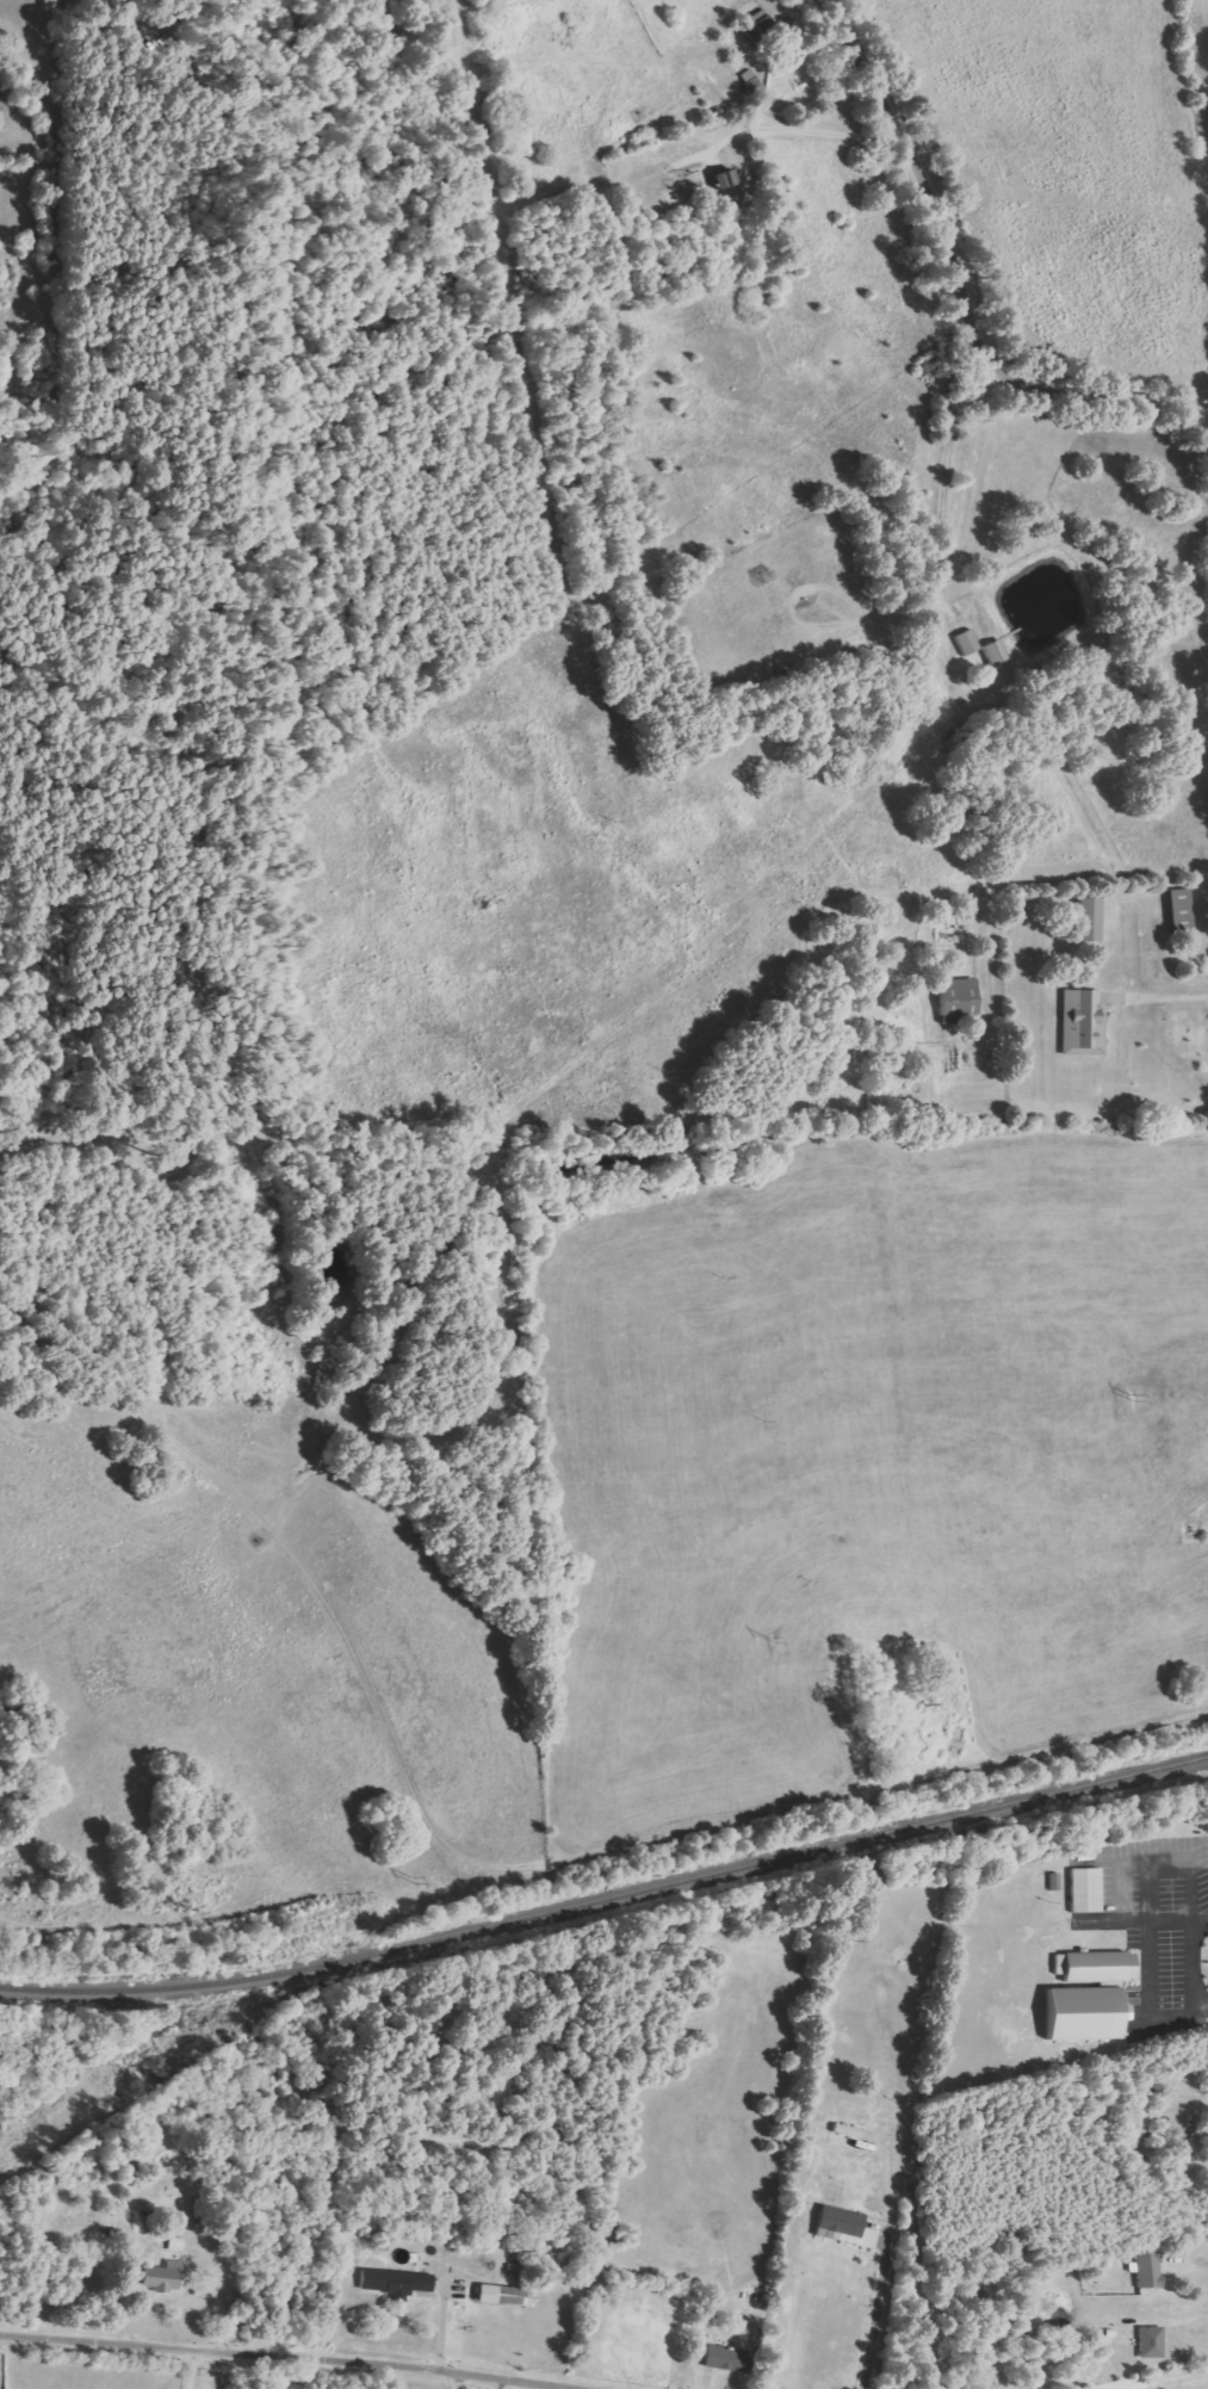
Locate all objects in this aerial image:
building: (757, 29)
building: (720, 179)
road: (959, 279)
building: (965, 643)
building: (992, 652)
building: (1177, 906)
building: (1086, 921)
building: (955, 999)
building: (1080, 1025)
power tower: (1126, 1394)
power tower: (768, 1638)
power tower: (414, 1880)
building: (1084, 1890)
railway: (607, 1898)
building: (1095, 1967)
building: (1079, 2013)
building: (1126, 2013)
power tower: (188, 2032)
building: (1140, 2117)
building: (844, 2130)
building: (843, 2228)
building: (174, 2245)
building: (1148, 2269)
building: (161, 2277)
building: (392, 2283)
building: (510, 2297)
building: (1150, 2342)
building: (724, 2358)
road: (275, 2359)

